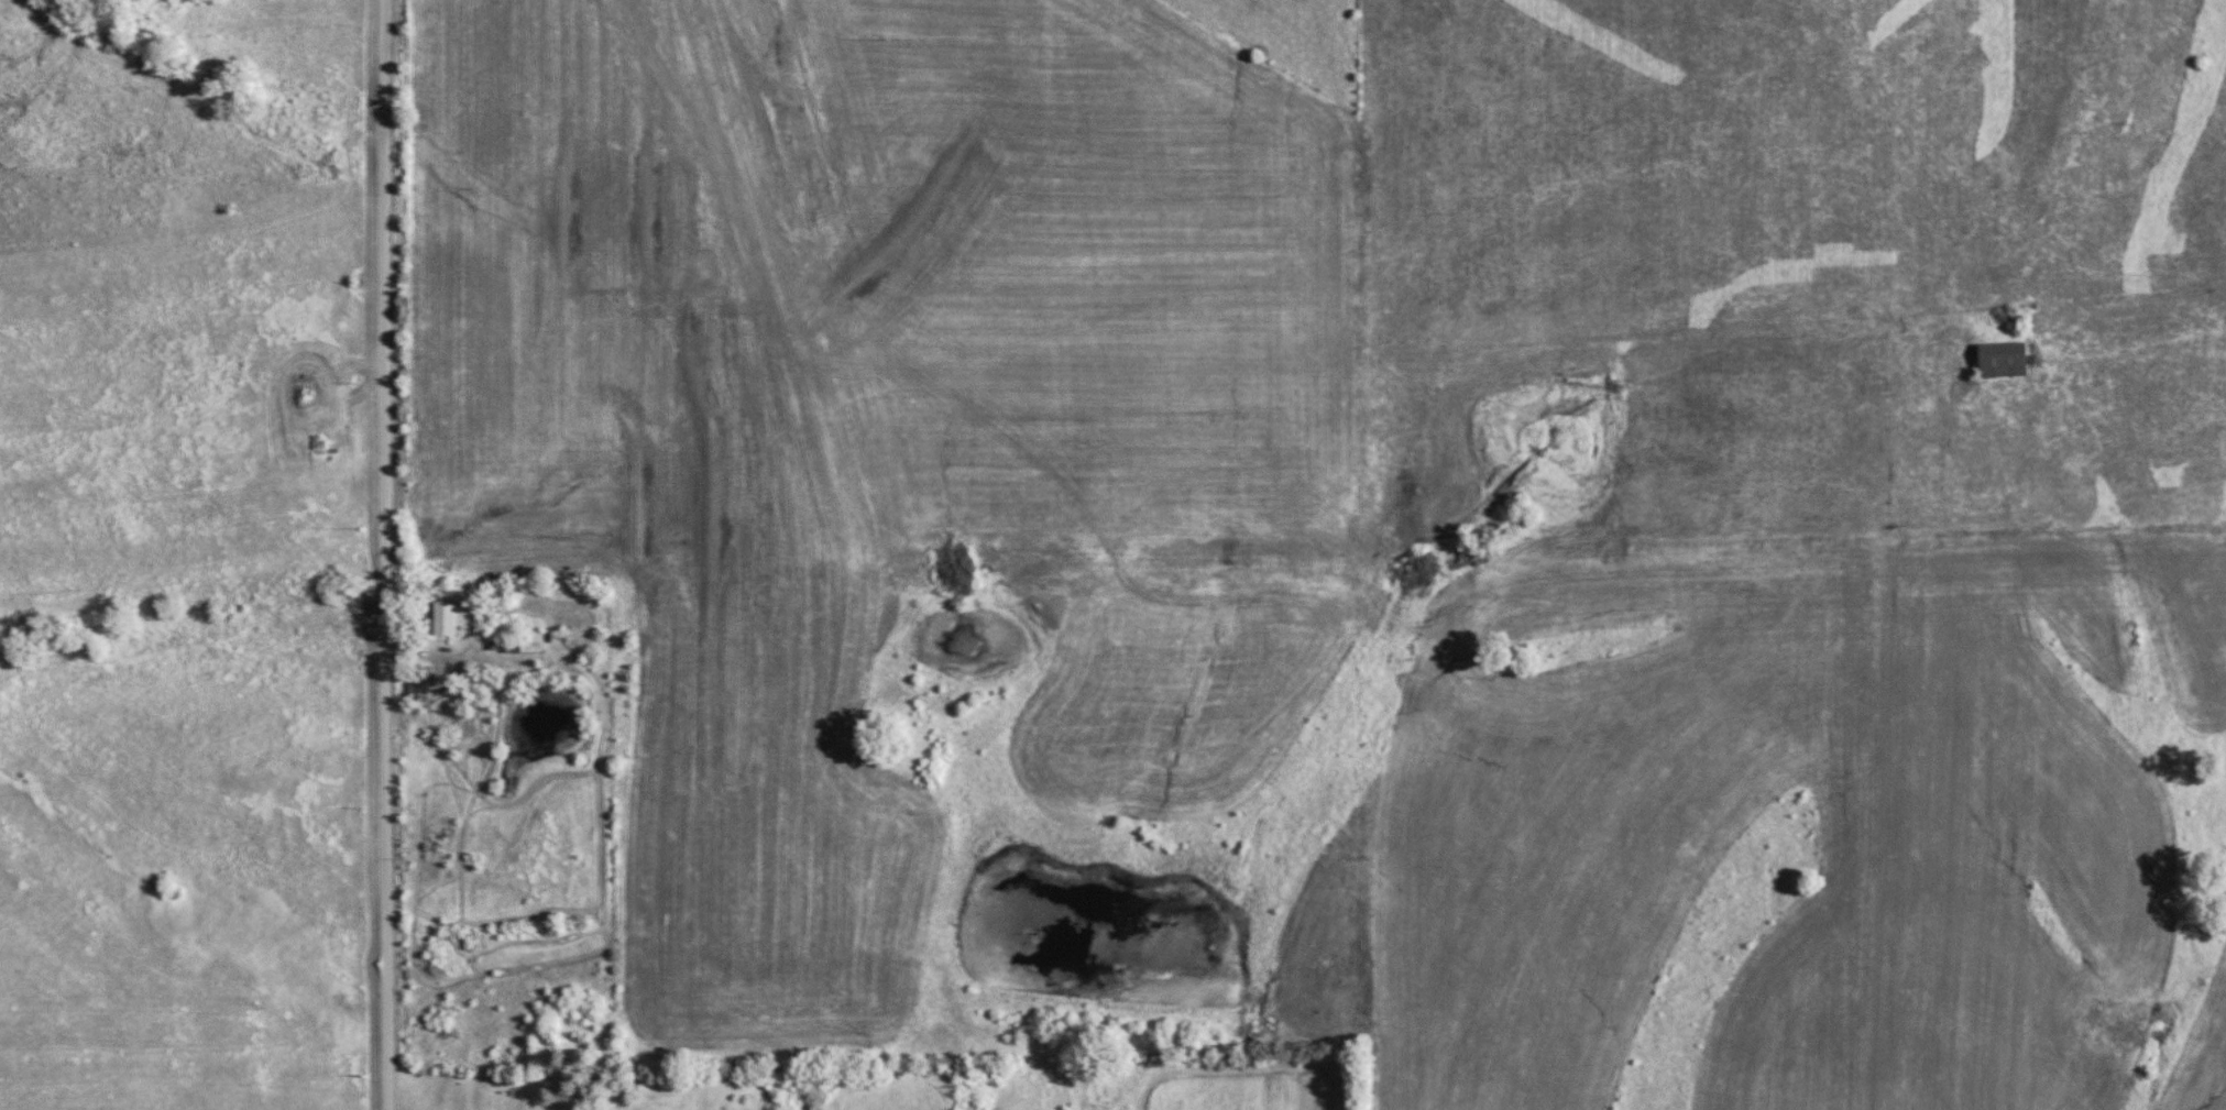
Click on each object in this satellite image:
building: (2003, 360)
road: (386, 554)
building: (443, 618)
building: (525, 642)
building: (416, 686)

